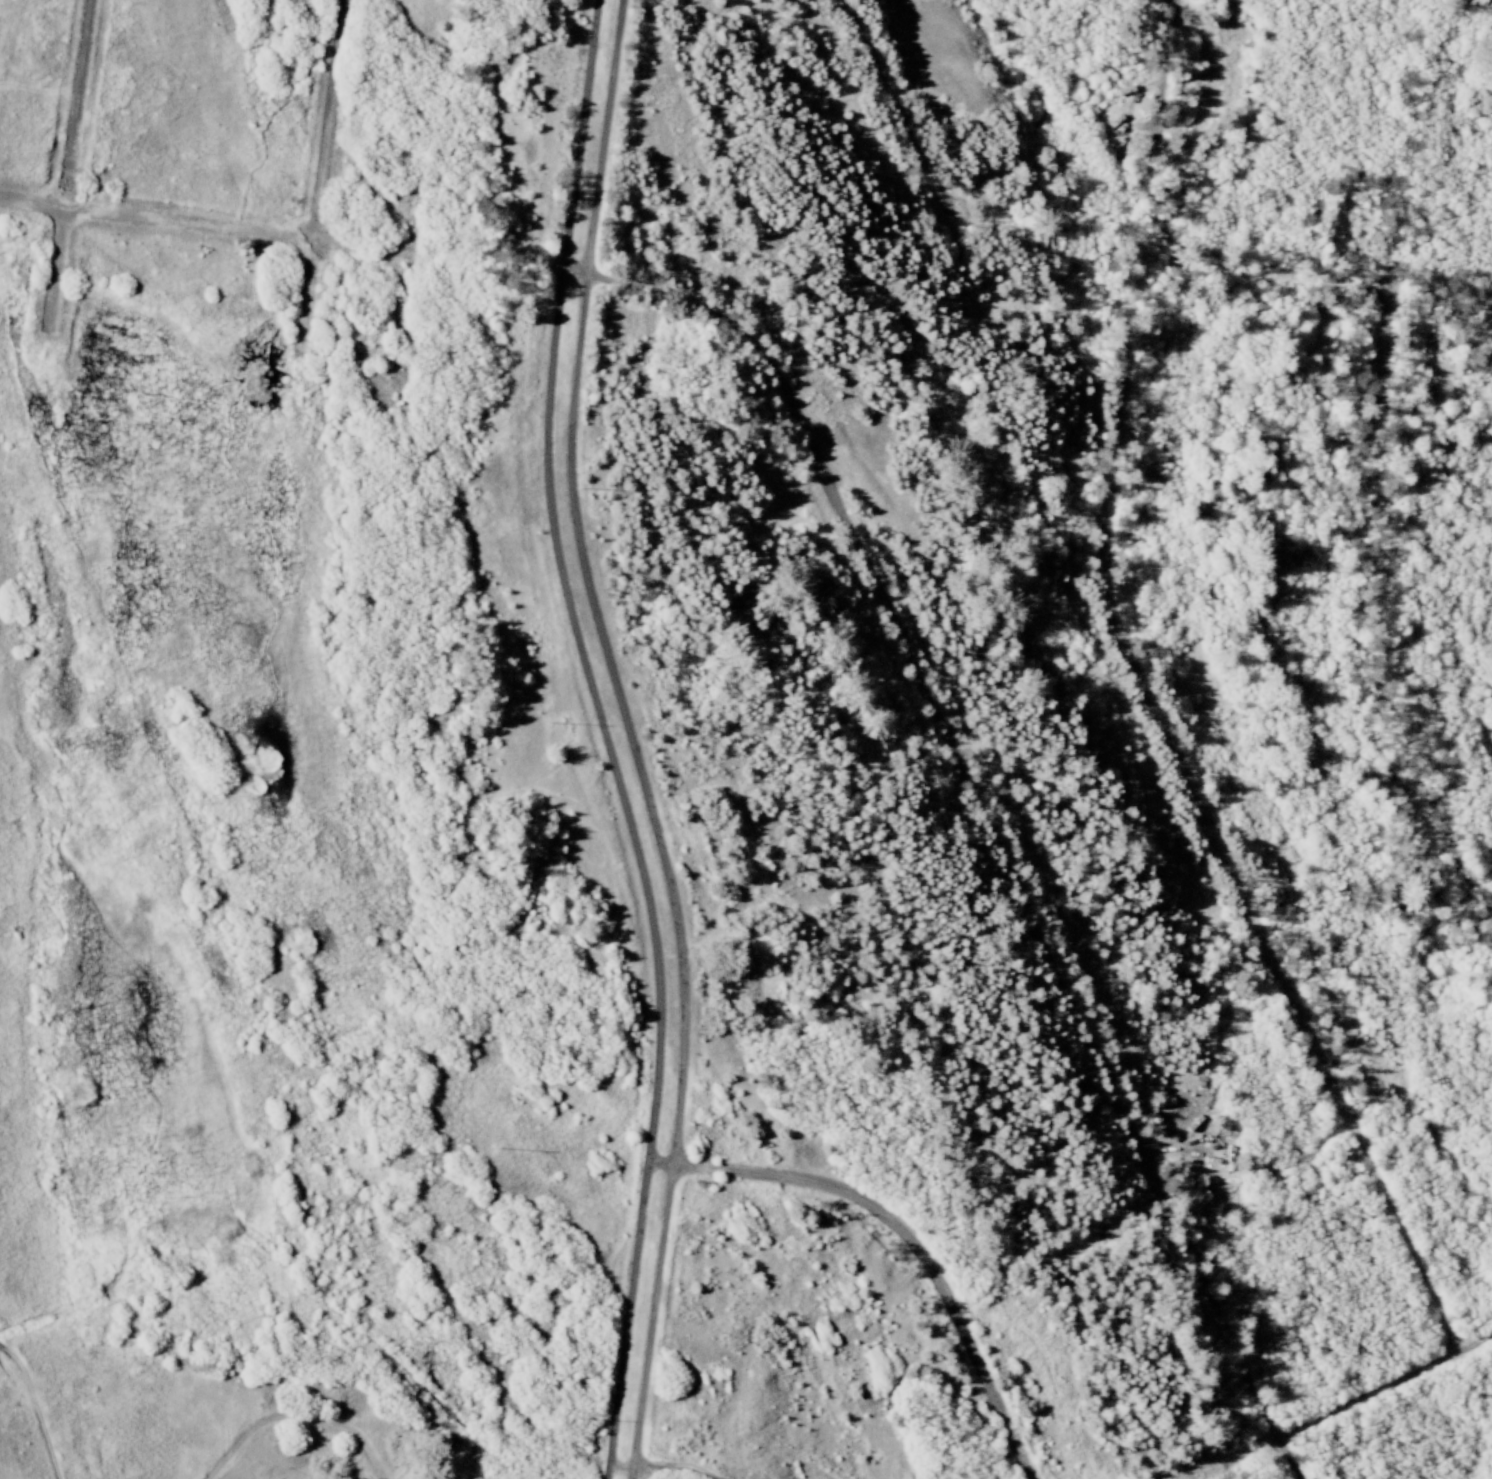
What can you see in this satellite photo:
road: (898, 110)
road: (329, 121)
road: (72, 166)
road: (1318, 281)
road: (308, 293)
road: (1367, 489)
road: (863, 557)
road: (634, 738)
road: (1168, 738)
road: (609, 739)
road: (908, 1237)
road: (1347, 1410)
road: (293, 1418)
road: (644, 1473)

